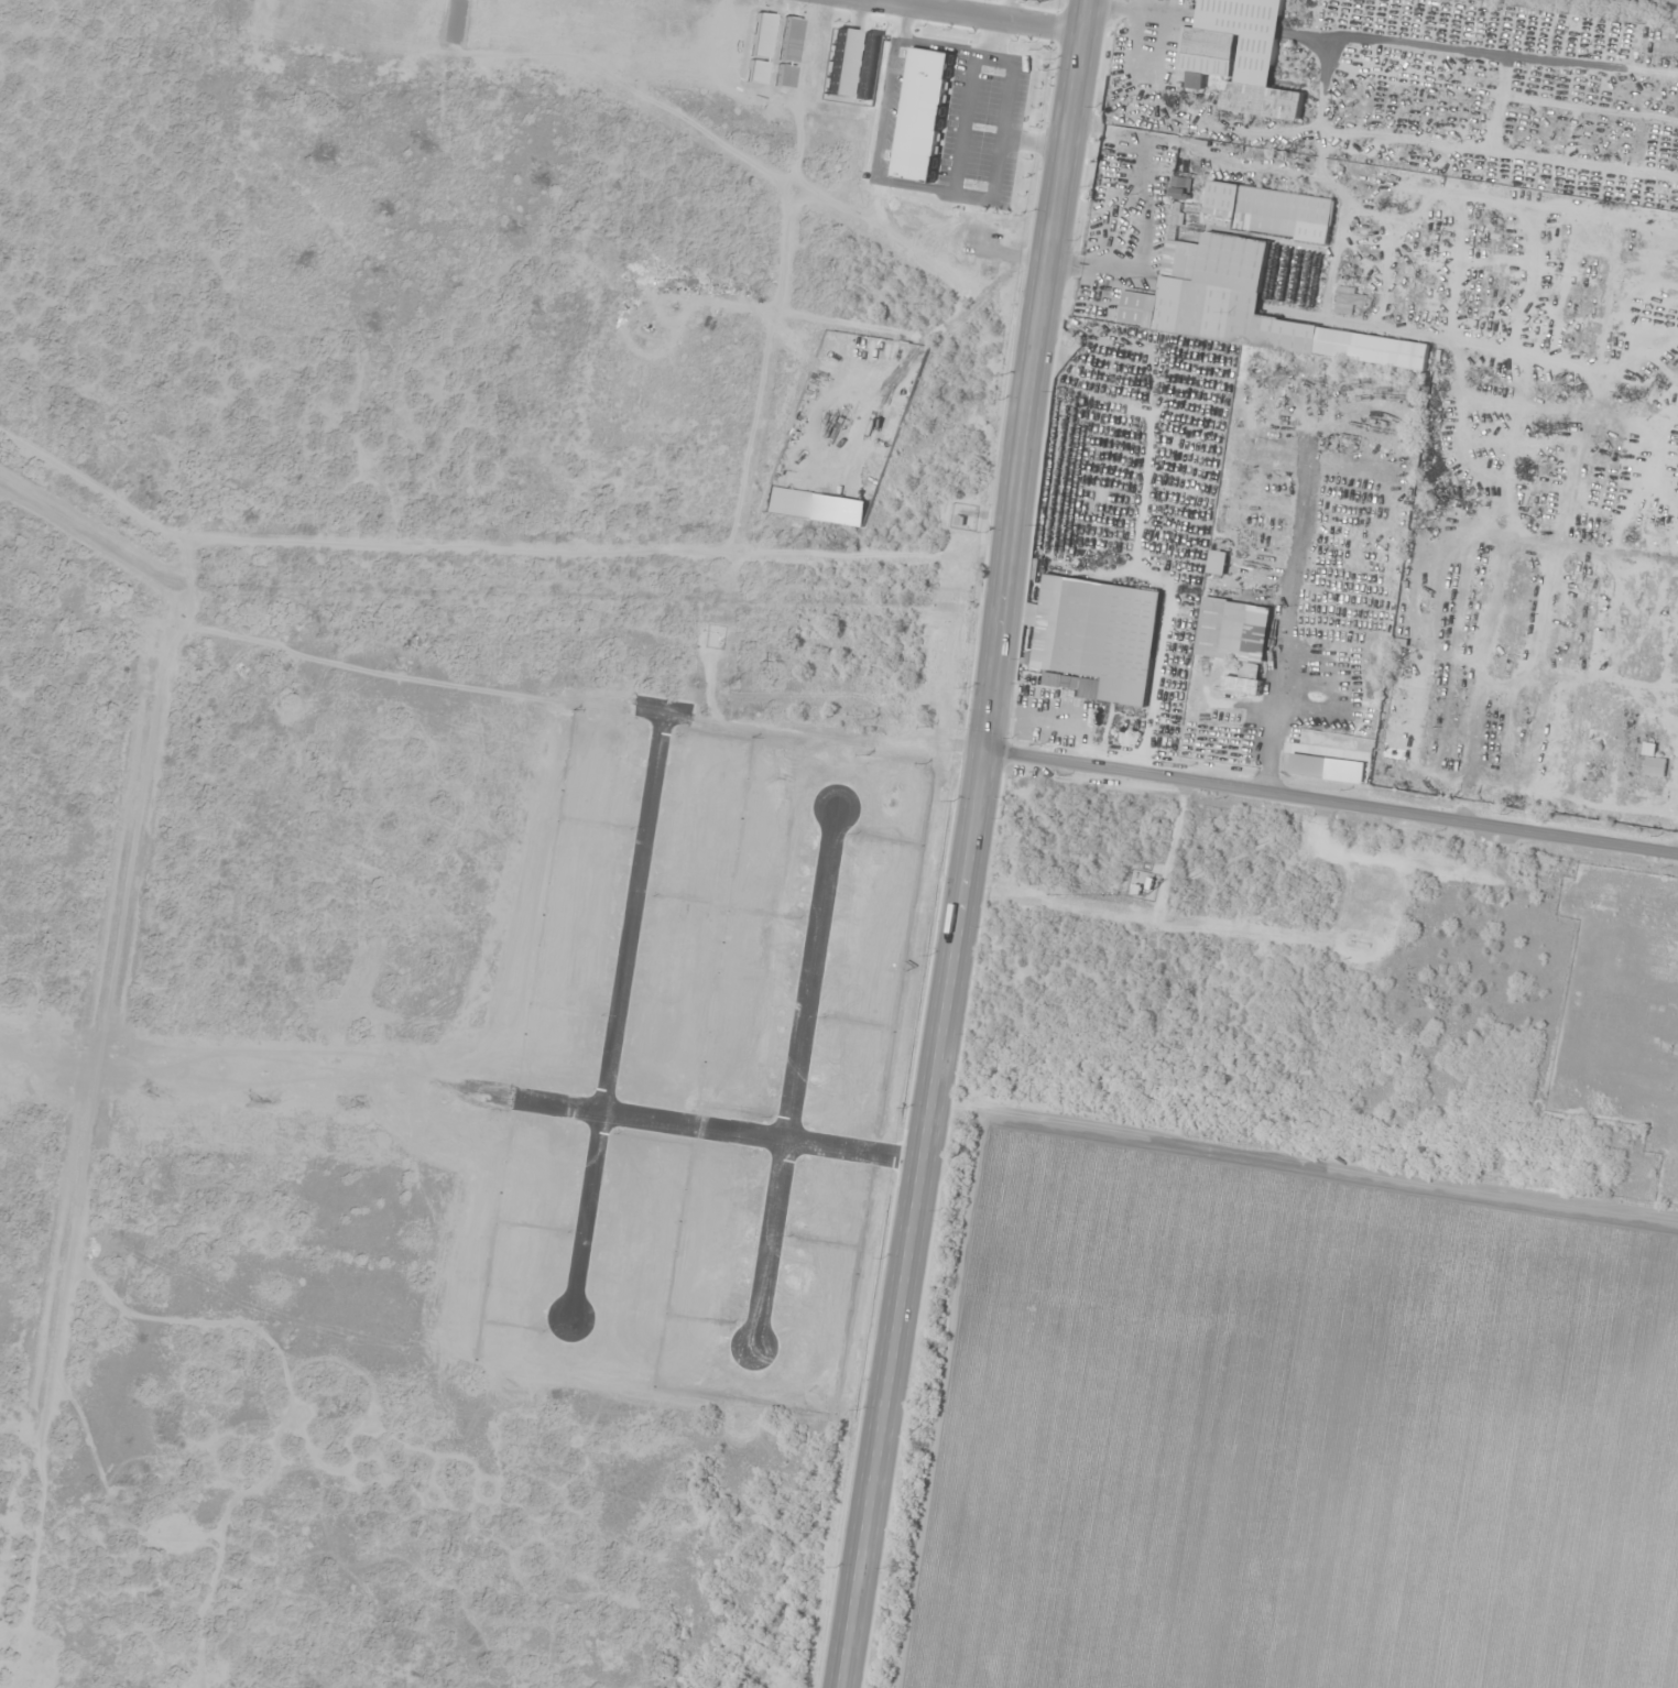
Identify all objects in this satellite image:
road: (969, 18)
building: (1239, 56)
building: (1268, 213)
building: (1244, 306)
building: (1218, 563)
building: (1245, 632)
building: (1098, 634)
building: (1242, 686)
building: (1085, 687)
building: (1650, 759)
building: (1307, 765)
road: (1331, 814)
road: (972, 845)
road: (612, 1030)
road: (793, 1078)
road: (719, 1133)

